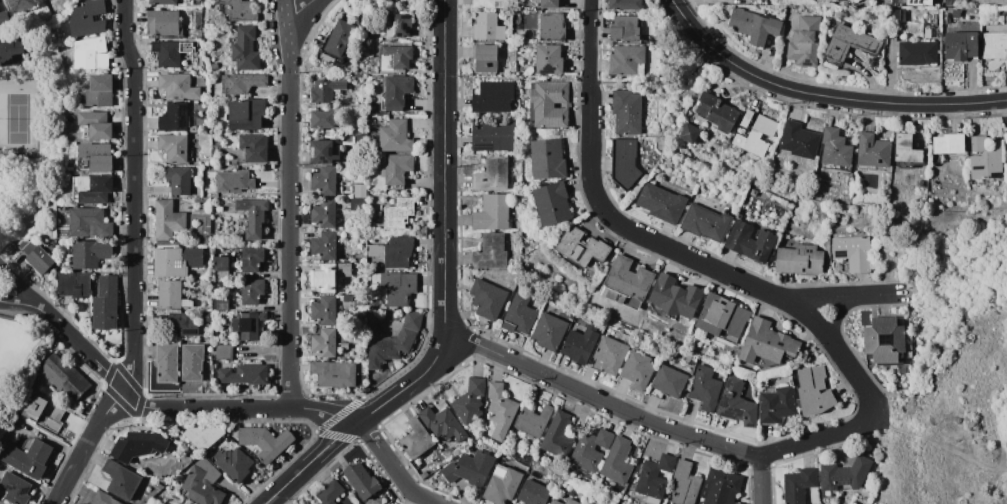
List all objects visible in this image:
building: (46, 0)
building: (389, 0)
building: (395, 0)
building: (163, 2)
building: (919, 2)
building: (488, 3)
building: (549, 4)
building: (624, 4)
building: (23, 5)
building: (239, 10)
road: (299, 12)
building: (956, 12)
building: (915, 13)
building: (896, 14)
building: (905, 15)
building: (4, 17)
building: (89, 18)
building: (163, 23)
building: (397, 24)
building: (753, 25)
building: (551, 26)
building: (487, 27)
building: (625, 30)
building: (341, 38)
building: (805, 41)
building: (994, 41)
building: (849, 43)
building: (960, 46)
building: (11, 47)
building: (246, 49)
building: (170, 52)
building: (918, 52)
building: (92, 53)
building: (397, 56)
building: (487, 59)
building: (548, 59)
building: (627, 60)
building: (244, 82)
building: (178, 85)
building: (100, 90)
building: (326, 90)
building: (398, 92)
road: (822, 95)
building: (492, 97)
building: (550, 103)
building: (626, 111)
building: (717, 112)
building: (246, 114)
building: (175, 117)
building: (746, 117)
building: (323, 119)
building: (95, 125)
building: (193, 129)
park: (25, 132)
building: (689, 133)
building: (394, 135)
building: (491, 135)
building: (755, 136)
building: (799, 139)
building: (360, 140)
building: (949, 143)
building: (255, 147)
building: (176, 148)
building: (836, 150)
building: (906, 151)
building: (324, 152)
building: (874, 152)
building: (1006, 154)
building: (984, 156)
building: (95, 158)
building: (547, 158)
road: (5, 159)
building: (624, 161)
building: (1006, 166)
building: (397, 170)
building: (492, 174)
building: (180, 180)
building: (326, 180)
building: (234, 181)
building: (345, 187)
building: (92, 189)
building: (361, 191)
road: (134, 196)
building: (661, 202)
building: (552, 203)
road: (291, 204)
building: (358, 204)
building: (325, 213)
building: (399, 213)
building: (492, 213)
building: (255, 218)
building: (168, 220)
building: (705, 222)
building: (85, 223)
road: (635, 231)
building: (750, 241)
building: (324, 245)
building: (582, 247)
building: (393, 252)
building: (491, 252)
building: (853, 252)
building: (90, 253)
building: (252, 259)
building: (799, 259)
building: (40, 260)
building: (176, 260)
building: (221, 266)
building: (330, 276)
building: (626, 282)
building: (75, 284)
road: (17, 285)
building: (397, 287)
park: (13, 290)
building: (252, 291)
road: (447, 291)
building: (169, 294)
road: (848, 295)
building: (675, 296)
building: (487, 299)
road: (15, 302)
building: (105, 303)
building: (373, 303)
building: (221, 304)
building: (325, 310)
building: (520, 315)
building: (721, 317)
road: (840, 317)
building: (186, 323)
building: (249, 325)
building: (549, 331)
building: (884, 341)
building: (394, 342)
building: (766, 342)
building: (324, 343)
building: (580, 344)
road: (81, 345)
building: (344, 346)
building: (224, 352)
building: (613, 352)
building: (192, 361)
building: (167, 363)
building: (637, 370)
building: (245, 374)
building: (335, 374)
building: (63, 377)
building: (668, 382)
building: (705, 387)
building: (812, 390)
building: (470, 401)
building: (736, 401)
building: (776, 404)
park: (966, 405)
road: (176, 407)
building: (501, 410)
building: (43, 412)
building: (533, 421)
building: (443, 423)
road: (689, 434)
building: (558, 436)
building: (203, 437)
building: (416, 439)
building: (264, 443)
building: (138, 445)
building: (591, 449)
building: (448, 453)
building: (27, 456)
building: (618, 462)
building: (234, 464)
road: (396, 468)
building: (469, 468)
building: (844, 474)
building: (424, 475)
building: (655, 476)
building: (361, 479)
building: (122, 480)
road: (764, 480)
building: (203, 483)
building: (686, 483)
building: (502, 485)
building: (798, 485)
building: (721, 487)
building: (15, 488)
building: (330, 492)
building: (534, 493)
building: (103, 498)
building: (571, 501)
building: (555, 502)
building: (1, 503)
building: (142, 503)
building: (741, 503)

